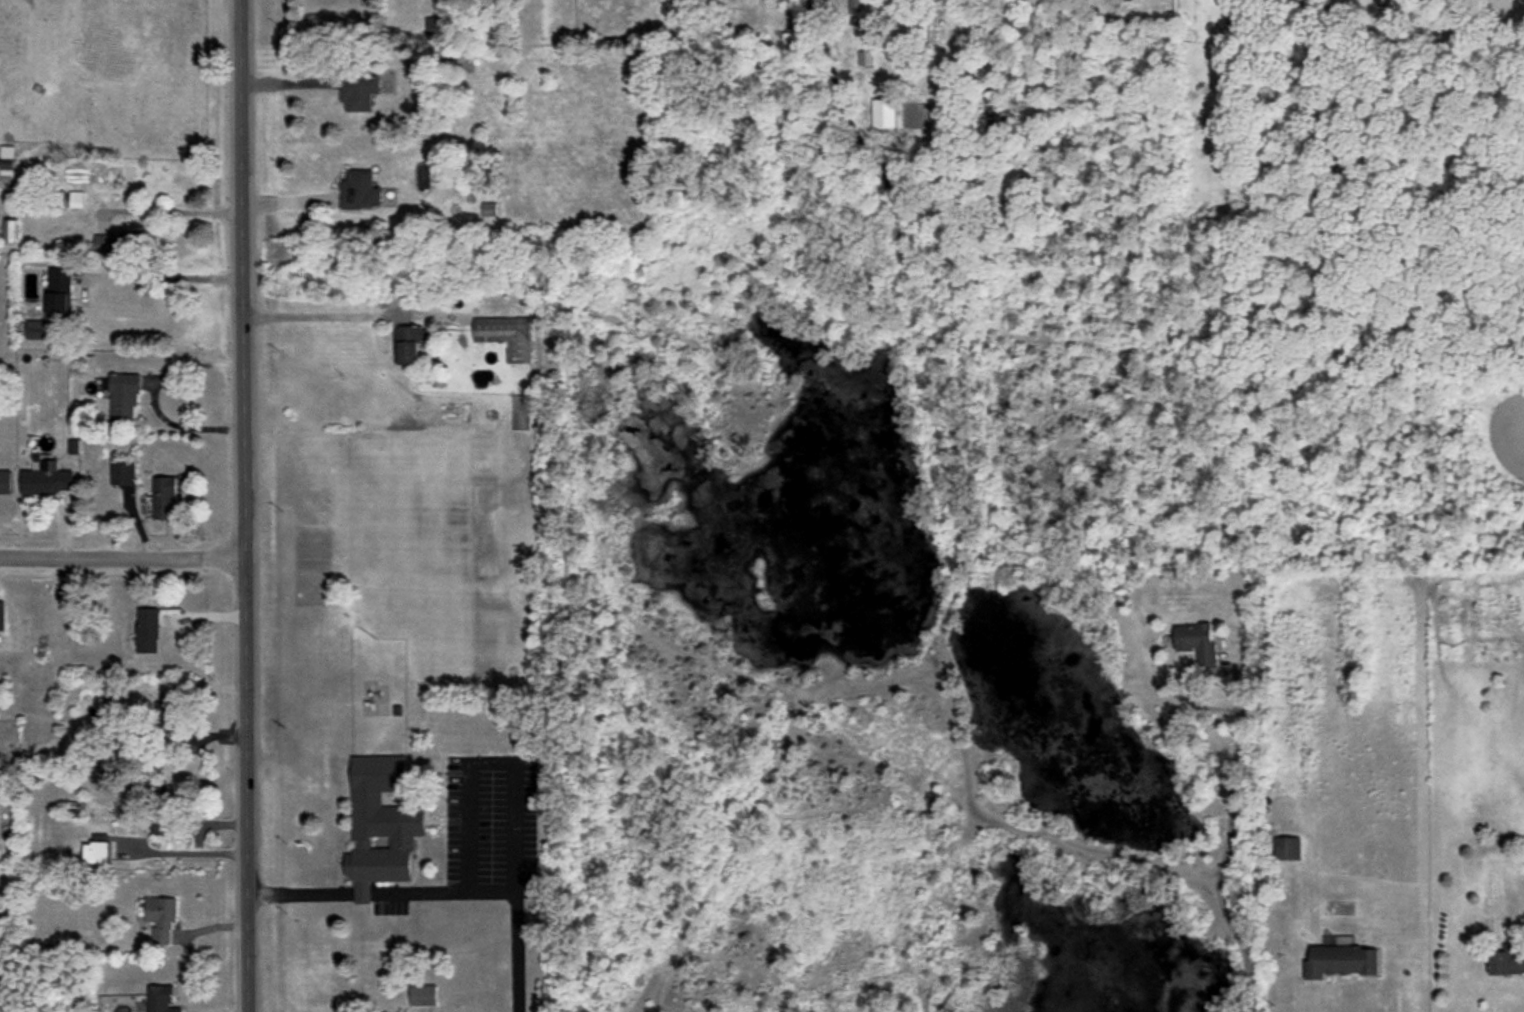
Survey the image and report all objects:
building: (859, 6)
building: (866, 58)
road: (285, 84)
building: (360, 90)
building: (885, 116)
building: (7, 151)
building: (360, 190)
building: (77, 199)
road: (170, 212)
building: (11, 230)
building: (116, 242)
road: (164, 278)
building: (60, 291)
road: (355, 317)
building: (42, 330)
building: (506, 335)
building: (409, 343)
building: (124, 397)
building: (123, 472)
building: (48, 479)
building: (6, 482)
building: (166, 497)
road: (247, 505)
road: (124, 556)
building: (2, 615)
building: (147, 630)
building: (1197, 642)
building: (164, 713)
building: (381, 825)
building: (161, 826)
road: (1223, 848)
building: (1287, 848)
building: (96, 851)
road: (182, 853)
road: (512, 885)
road: (442, 891)
road: (359, 892)
road: (298, 894)
building: (161, 917)
building: (1341, 961)
building: (1506, 961)
building: (424, 995)
building: (161, 999)
road: (1316, 1008)

